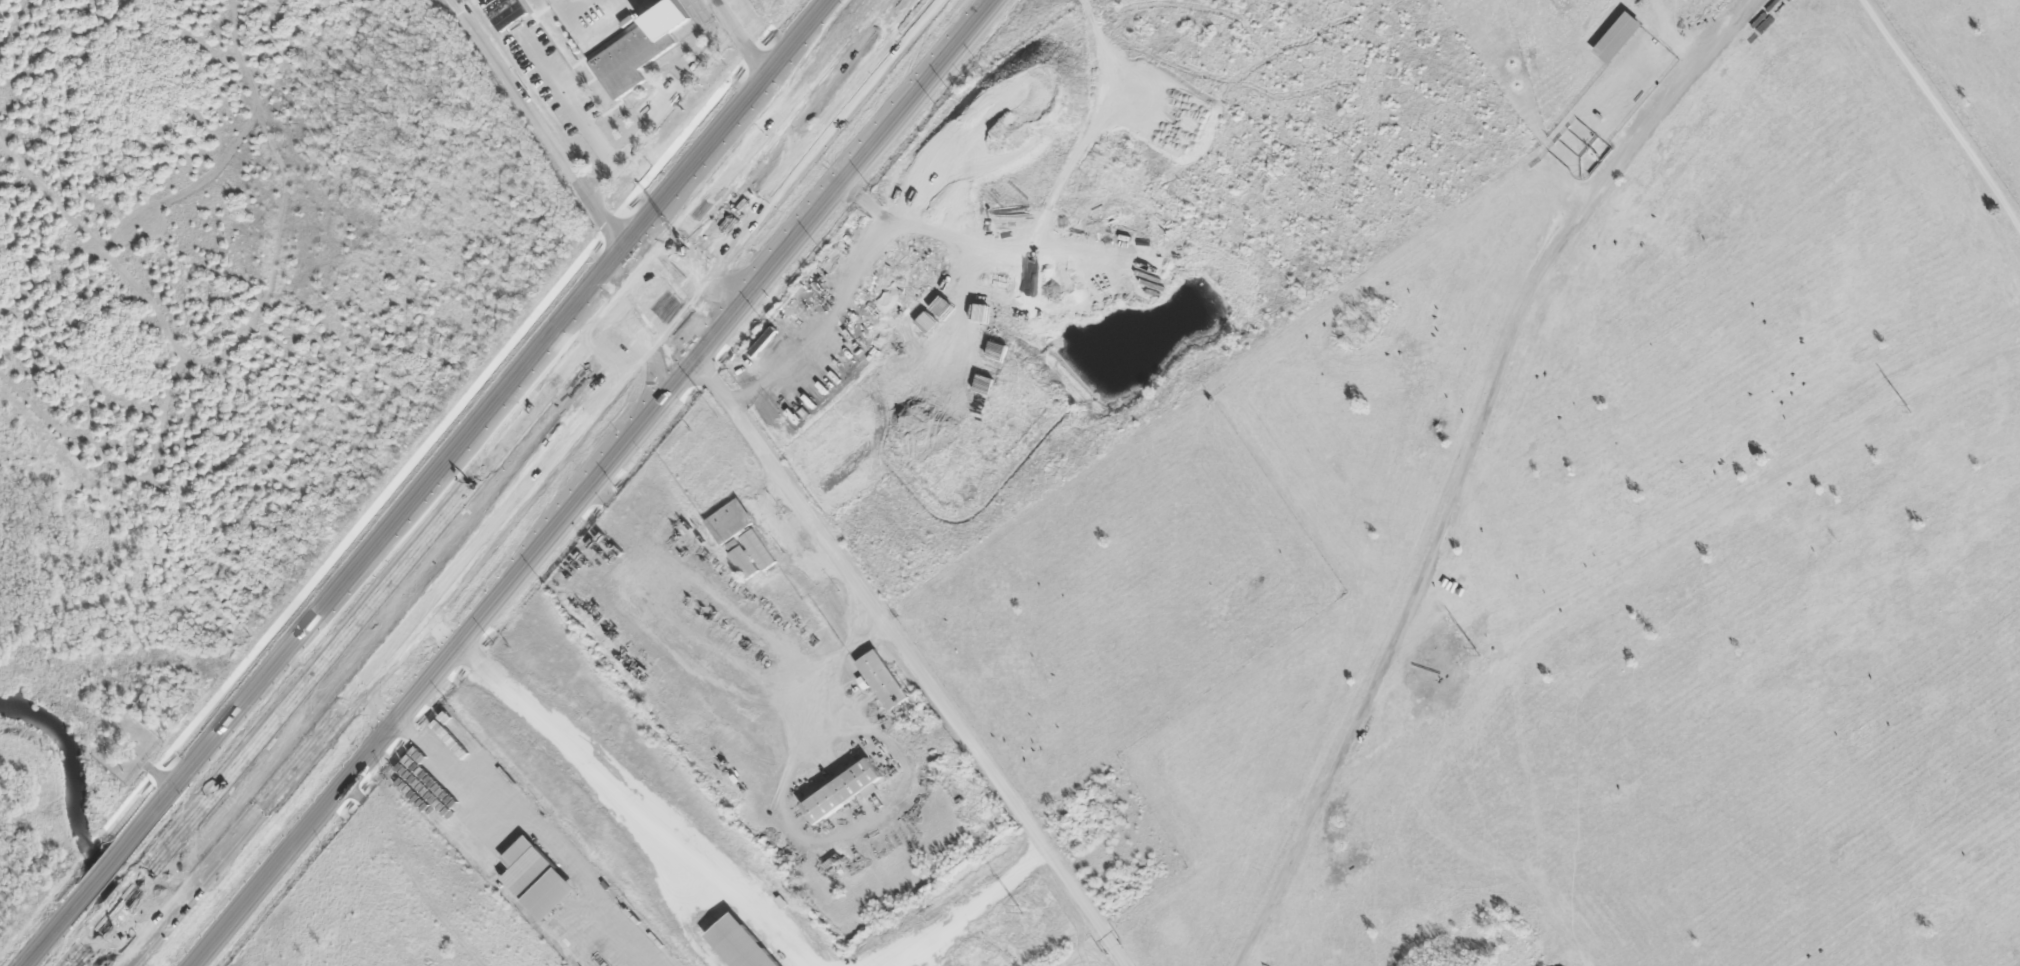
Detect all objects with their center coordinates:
building: (505, 11)
building: (1620, 38)
building: (636, 48)
road: (784, 112)
road: (817, 121)
road: (543, 122)
road: (703, 280)
road: (642, 288)
road: (662, 304)
road: (642, 330)
power tower: (1912, 416)
road: (477, 426)
road: (1462, 460)
road: (599, 482)
building: (730, 522)
building: (759, 550)
building: (742, 559)
road: (880, 606)
power tower: (1476, 653)
road: (337, 658)
road: (365, 665)
building: (885, 679)
building: (458, 736)
building: (846, 791)
road: (100, 878)
building: (537, 880)
power tower: (1019, 910)
road: (52, 935)
building: (743, 945)

